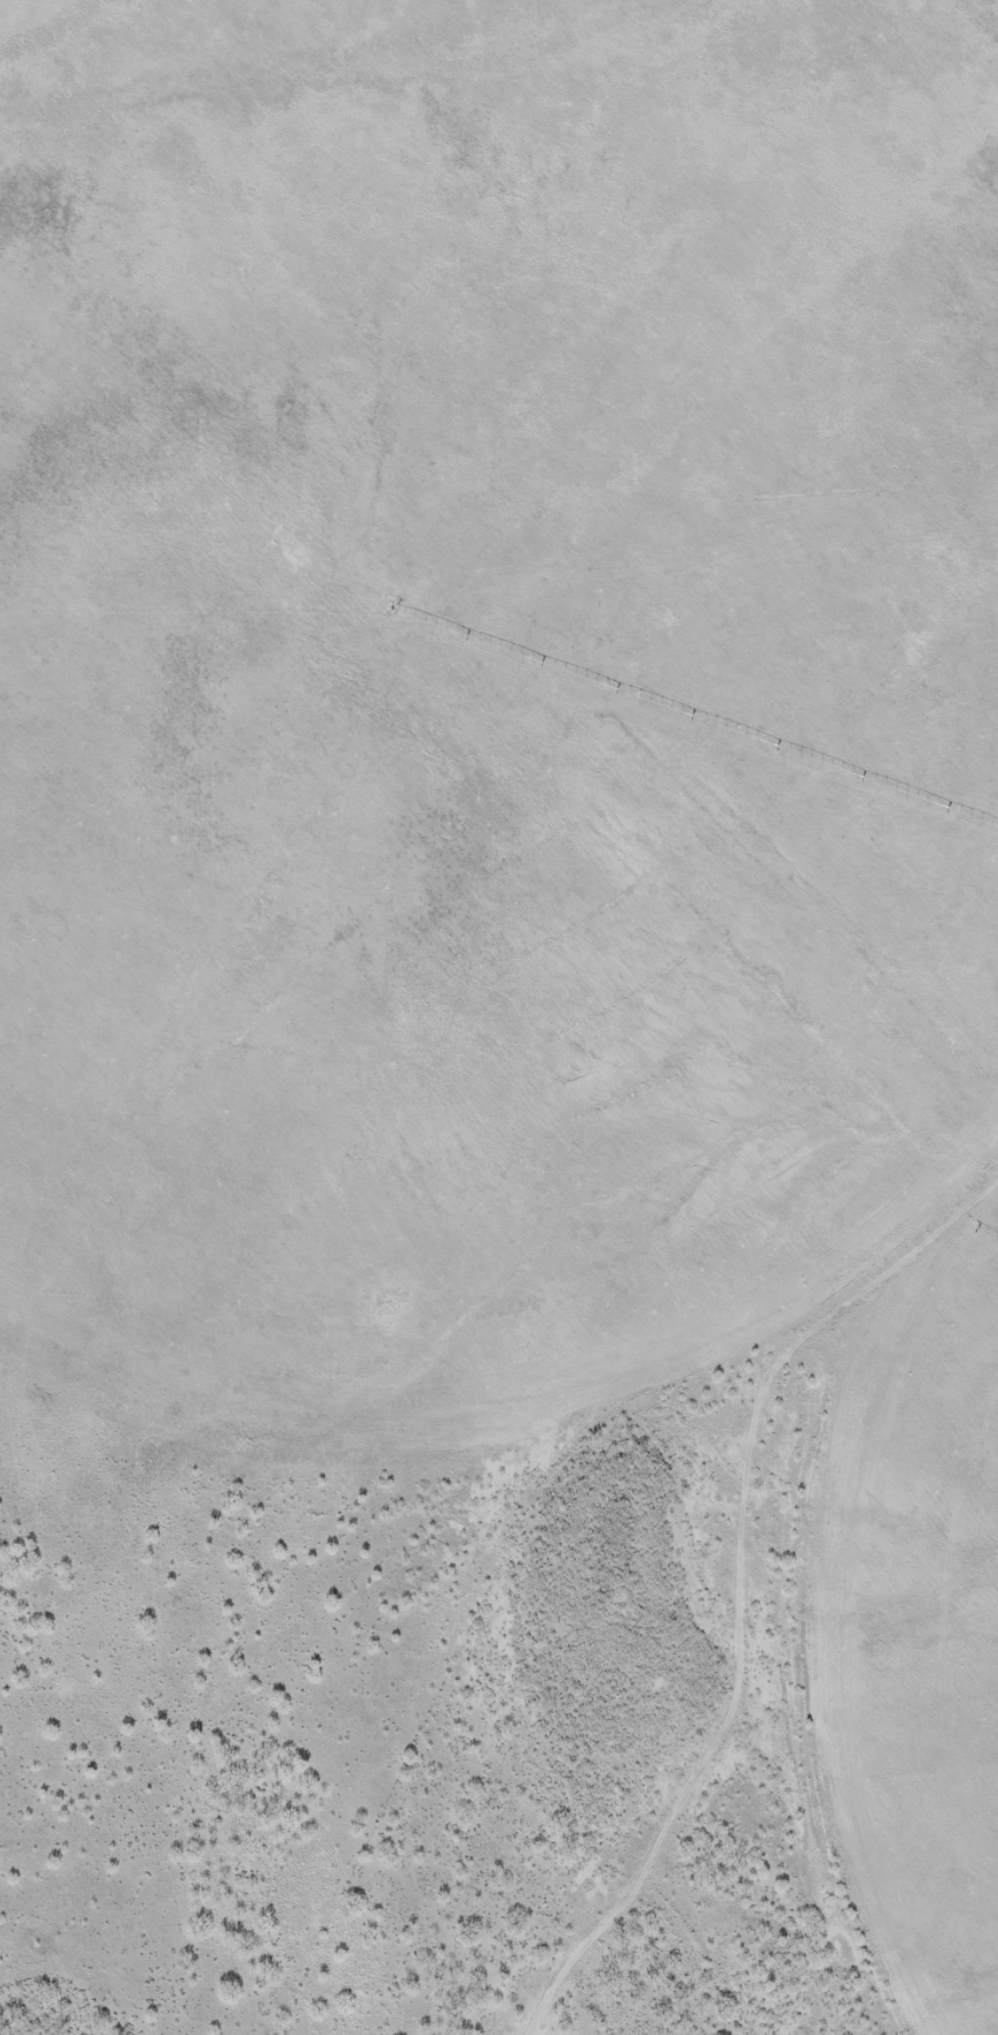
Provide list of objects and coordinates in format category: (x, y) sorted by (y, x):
road: (595, 1282)

